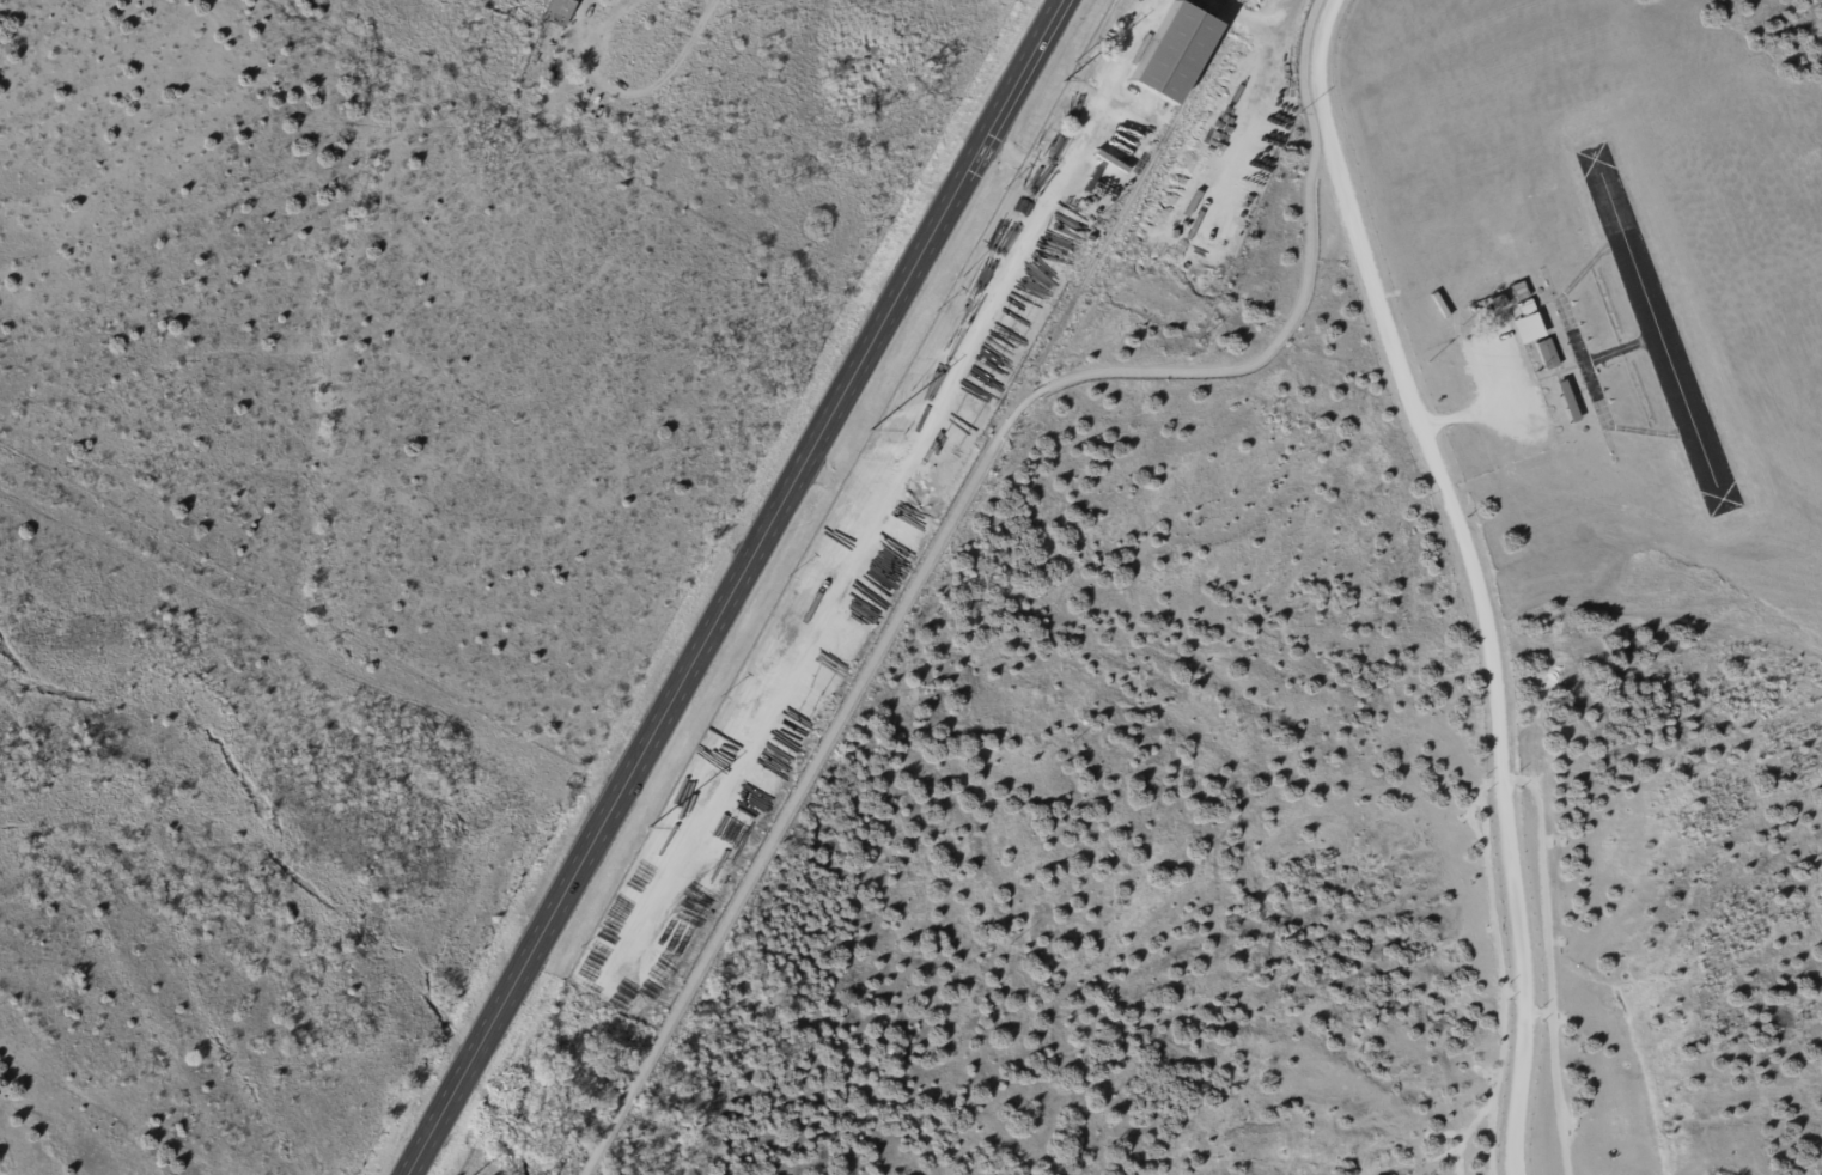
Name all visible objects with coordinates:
building: (563, 12)
building: (1172, 54)
road: (645, 90)
road: (1023, 152)
railway: (1139, 183)
building: (1519, 292)
building: (1499, 305)
building: (1525, 308)
building: (1527, 329)
building: (1547, 355)
building: (1567, 403)
road: (1471, 416)
road: (841, 477)
road: (892, 482)
road: (950, 516)
road: (1473, 574)
road: (726, 586)

